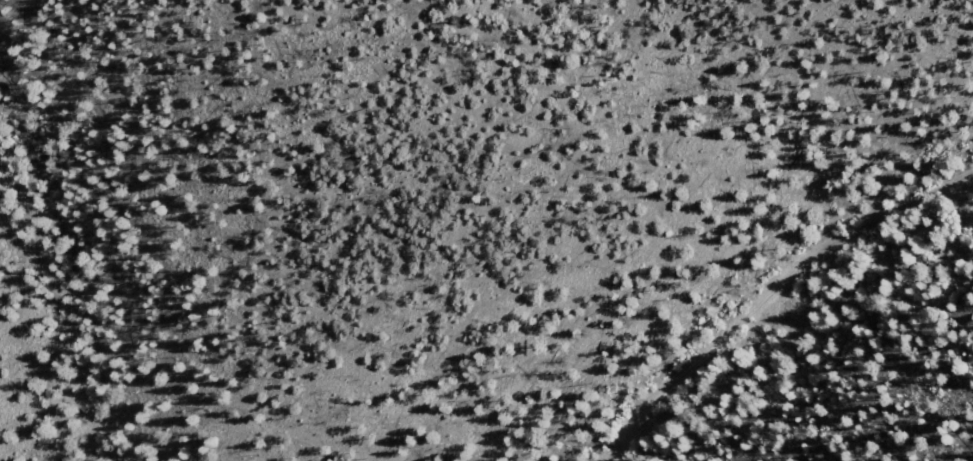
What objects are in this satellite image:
road: (743, 300)

